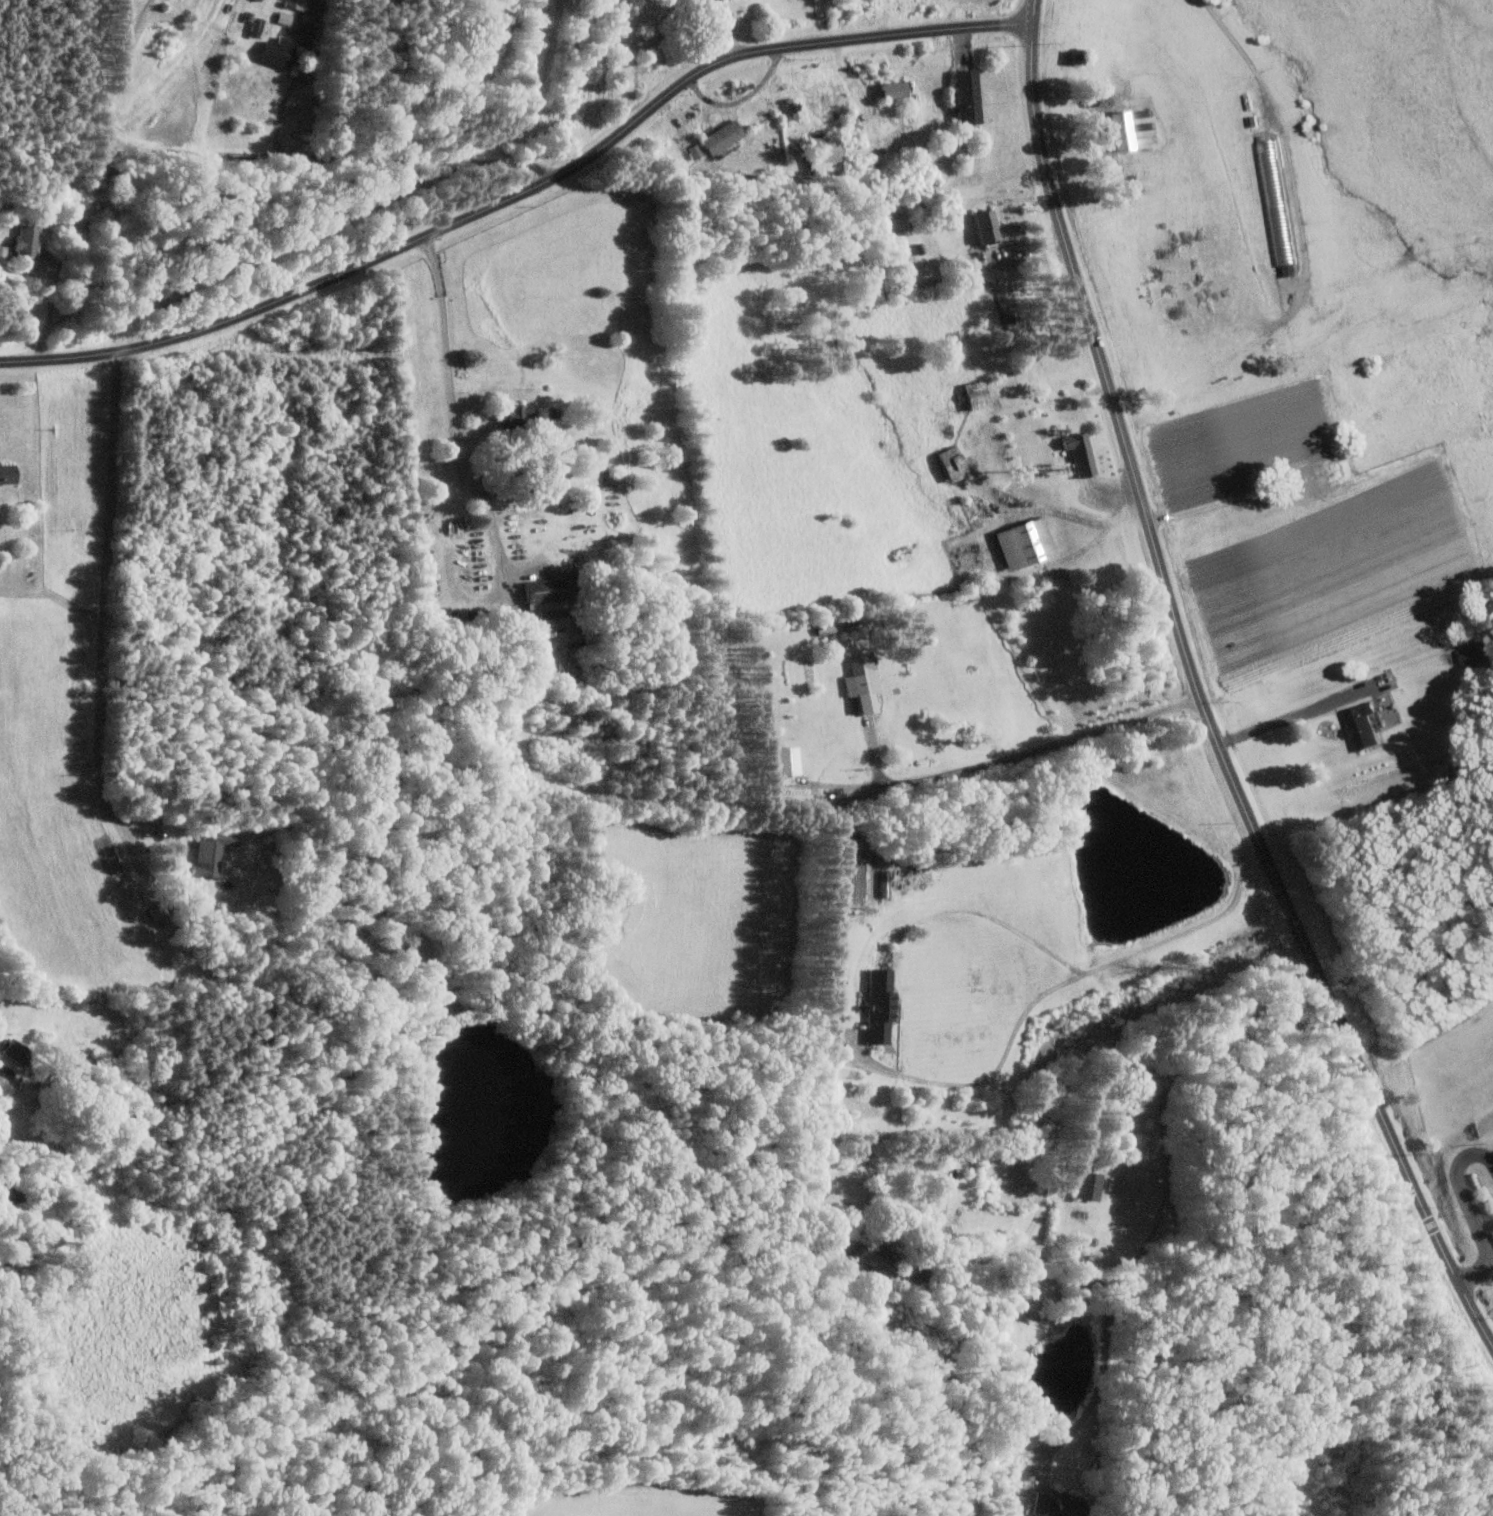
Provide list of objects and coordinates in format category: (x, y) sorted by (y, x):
building: (697, 0)
building: (286, 18)
building: (279, 52)
building: (897, 89)
building: (970, 96)
road: (743, 99)
building: (1133, 128)
building: (725, 136)
road: (128, 145)
building: (696, 150)
road: (358, 158)
road: (523, 192)
building: (990, 226)
building: (29, 240)
road: (1298, 292)
road: (53, 296)
road: (455, 411)
building: (520, 416)
building: (1083, 454)
building: (956, 463)
building: (9, 474)
building: (1029, 544)
road: (998, 570)
road: (106, 597)
building: (549, 598)
building: (865, 681)
road: (1200, 692)
road: (1276, 723)
building: (1357, 724)
road: (1013, 756)
building: (790, 760)
building: (212, 852)
road: (982, 909)
road: (1051, 989)
building: (883, 1003)
building: (19, 1050)
road: (1075, 1081)
building: (1091, 1185)
road: (1168, 1189)
road: (1471, 1210)
building: (876, 1256)
building: (1060, 1506)

